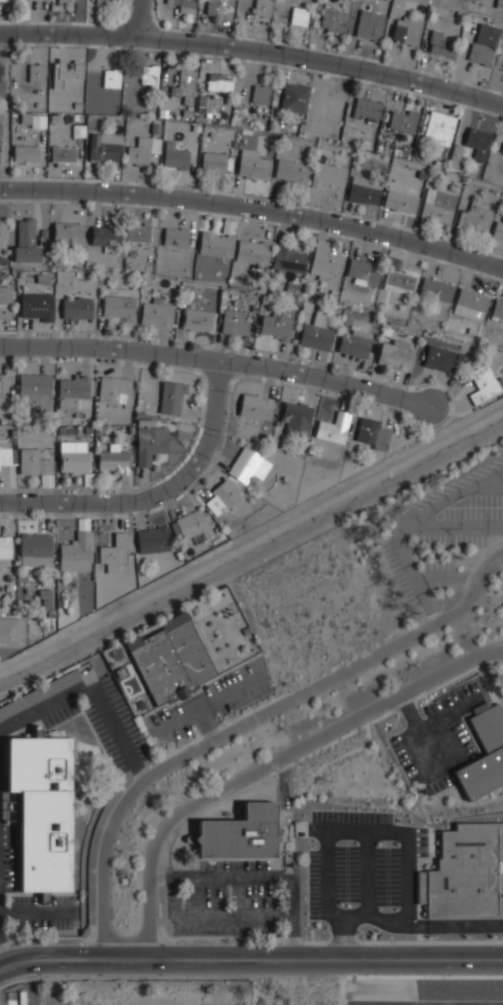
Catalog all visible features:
building: (3, 0)
building: (38, 0)
building: (112, 0)
building: (98, 2)
building: (499, 4)
building: (185, 6)
building: (217, 7)
building: (263, 8)
building: (300, 15)
road: (142, 18)
building: (333, 20)
building: (370, 24)
building: (407, 30)
building: (487, 35)
building: (442, 44)
road: (254, 51)
building: (481, 53)
building: (37, 72)
building: (66, 72)
building: (150, 74)
building: (111, 77)
building: (2, 79)
building: (220, 81)
building: (186, 83)
building: (261, 94)
building: (295, 97)
building: (209, 104)
building: (367, 109)
building: (404, 120)
building: (440, 127)
building: (78, 133)
building: (0, 142)
building: (473, 145)
building: (106, 147)
building: (143, 150)
building: (502, 150)
building: (26, 153)
building: (64, 153)
building: (176, 154)
building: (217, 161)
building: (253, 164)
building: (292, 170)
building: (329, 175)
building: (365, 190)
building: (401, 201)
building: (438, 205)
road: (254, 209)
building: (476, 217)
building: (228, 227)
building: (2, 230)
building: (498, 231)
building: (68, 233)
building: (139, 233)
building: (176, 236)
building: (105, 237)
building: (26, 243)
building: (215, 244)
building: (132, 253)
building: (253, 253)
building: (2, 260)
building: (288, 260)
building: (325, 261)
building: (43, 263)
building: (58, 264)
building: (127, 264)
building: (395, 264)
building: (75, 265)
building: (87, 265)
building: (363, 271)
building: (78, 273)
building: (20, 274)
building: (197, 274)
building: (41, 279)
building: (399, 281)
building: (292, 288)
building: (437, 290)
building: (333, 295)
building: (265, 299)
building: (221, 300)
building: (5, 302)
building: (472, 302)
building: (36, 305)
building: (118, 307)
building: (307, 307)
building: (77, 308)
building: (497, 309)
building: (156, 313)
building: (196, 320)
building: (373, 320)
building: (234, 323)
building: (277, 323)
building: (385, 331)
building: (316, 332)
building: (355, 343)
building: (394, 355)
building: (459, 357)
building: (438, 358)
road: (218, 360)
building: (484, 384)
building: (113, 388)
building: (4, 390)
building: (72, 391)
building: (35, 396)
building: (171, 397)
building: (96, 407)
building: (256, 407)
building: (296, 418)
building: (61, 421)
building: (334, 428)
building: (88, 429)
building: (61, 430)
building: (129, 430)
building: (70, 431)
building: (13, 433)
building: (372, 433)
building: (150, 440)
building: (7, 454)
building: (73, 457)
building: (113, 459)
building: (33, 463)
building: (248, 465)
building: (88, 479)
building: (46, 480)
road: (490, 485)
road: (157, 495)
building: (222, 497)
building: (83, 524)
building: (189, 524)
road: (404, 525)
road: (452, 527)
building: (216, 529)
building: (206, 534)
building: (153, 539)
parking lot: (447, 539)
building: (5, 547)
building: (35, 549)
building: (76, 553)
building: (114, 553)
building: (179, 555)
road: (455, 577)
road: (423, 581)
building: (8, 588)
building: (44, 593)
building: (5, 598)
building: (62, 600)
building: (46, 602)
building: (50, 614)
building: (37, 616)
road: (219, 618)
building: (246, 630)
building: (10, 632)
road: (240, 637)
road: (204, 644)
road: (214, 656)
building: (170, 660)
road: (87, 689)
building: (39, 694)
road: (209, 700)
parking lot: (211, 701)
road: (407, 706)
road: (248, 723)
road: (205, 724)
building: (489, 735)
parking lot: (438, 737)
road: (270, 763)
road: (140, 771)
parking lot: (1, 798)
building: (43, 809)
road: (360, 833)
building: (240, 835)
parking lot: (361, 863)
building: (465, 872)
road: (367, 875)
road: (168, 876)
road: (228, 876)
parking lot: (234, 899)
road: (289, 907)
road: (407, 916)
road: (211, 918)
road: (421, 927)
road: (343, 931)
road: (2, 955)
road: (251, 959)
parking lot: (412, 1003)

